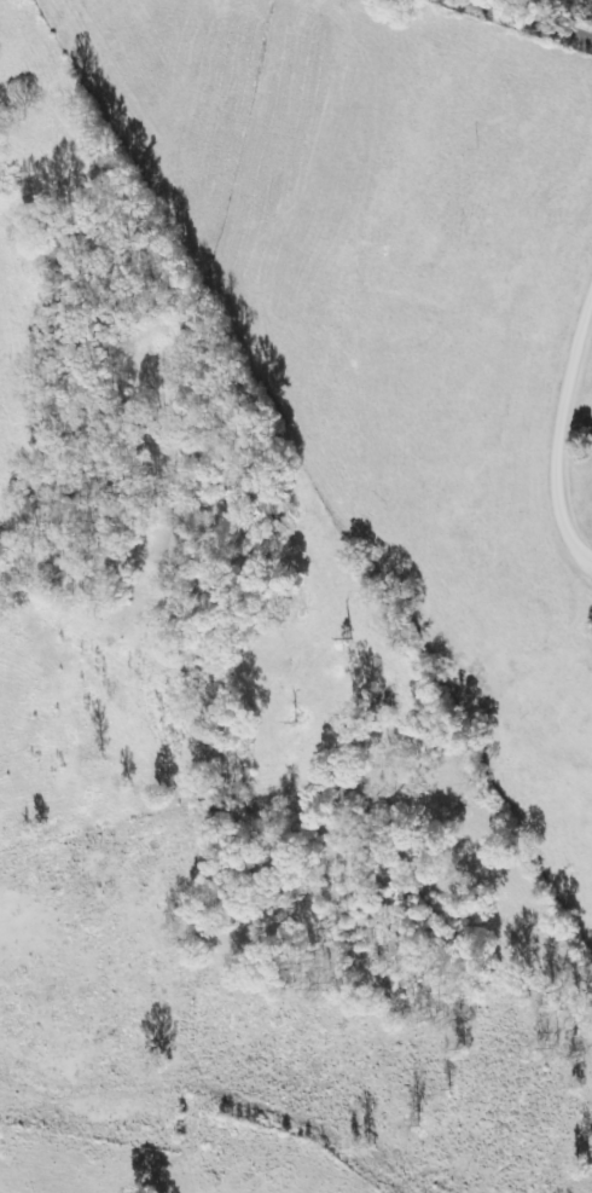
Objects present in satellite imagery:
road: (497, 29)

